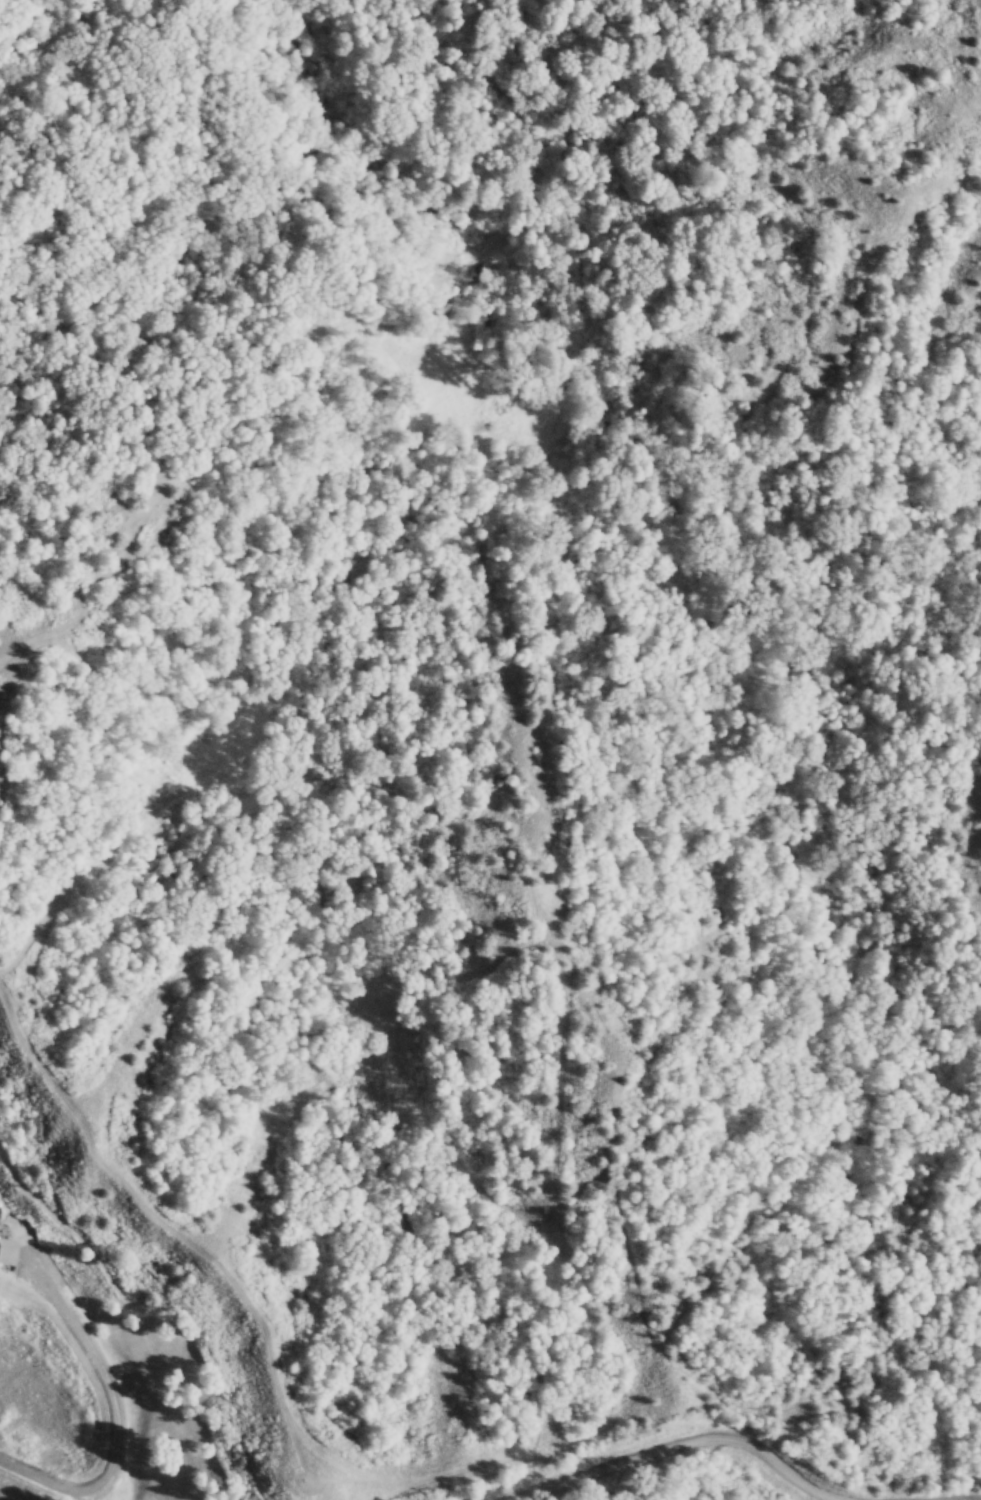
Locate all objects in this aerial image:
road: (115, 1418)
road: (675, 1444)
road: (558, 1489)

